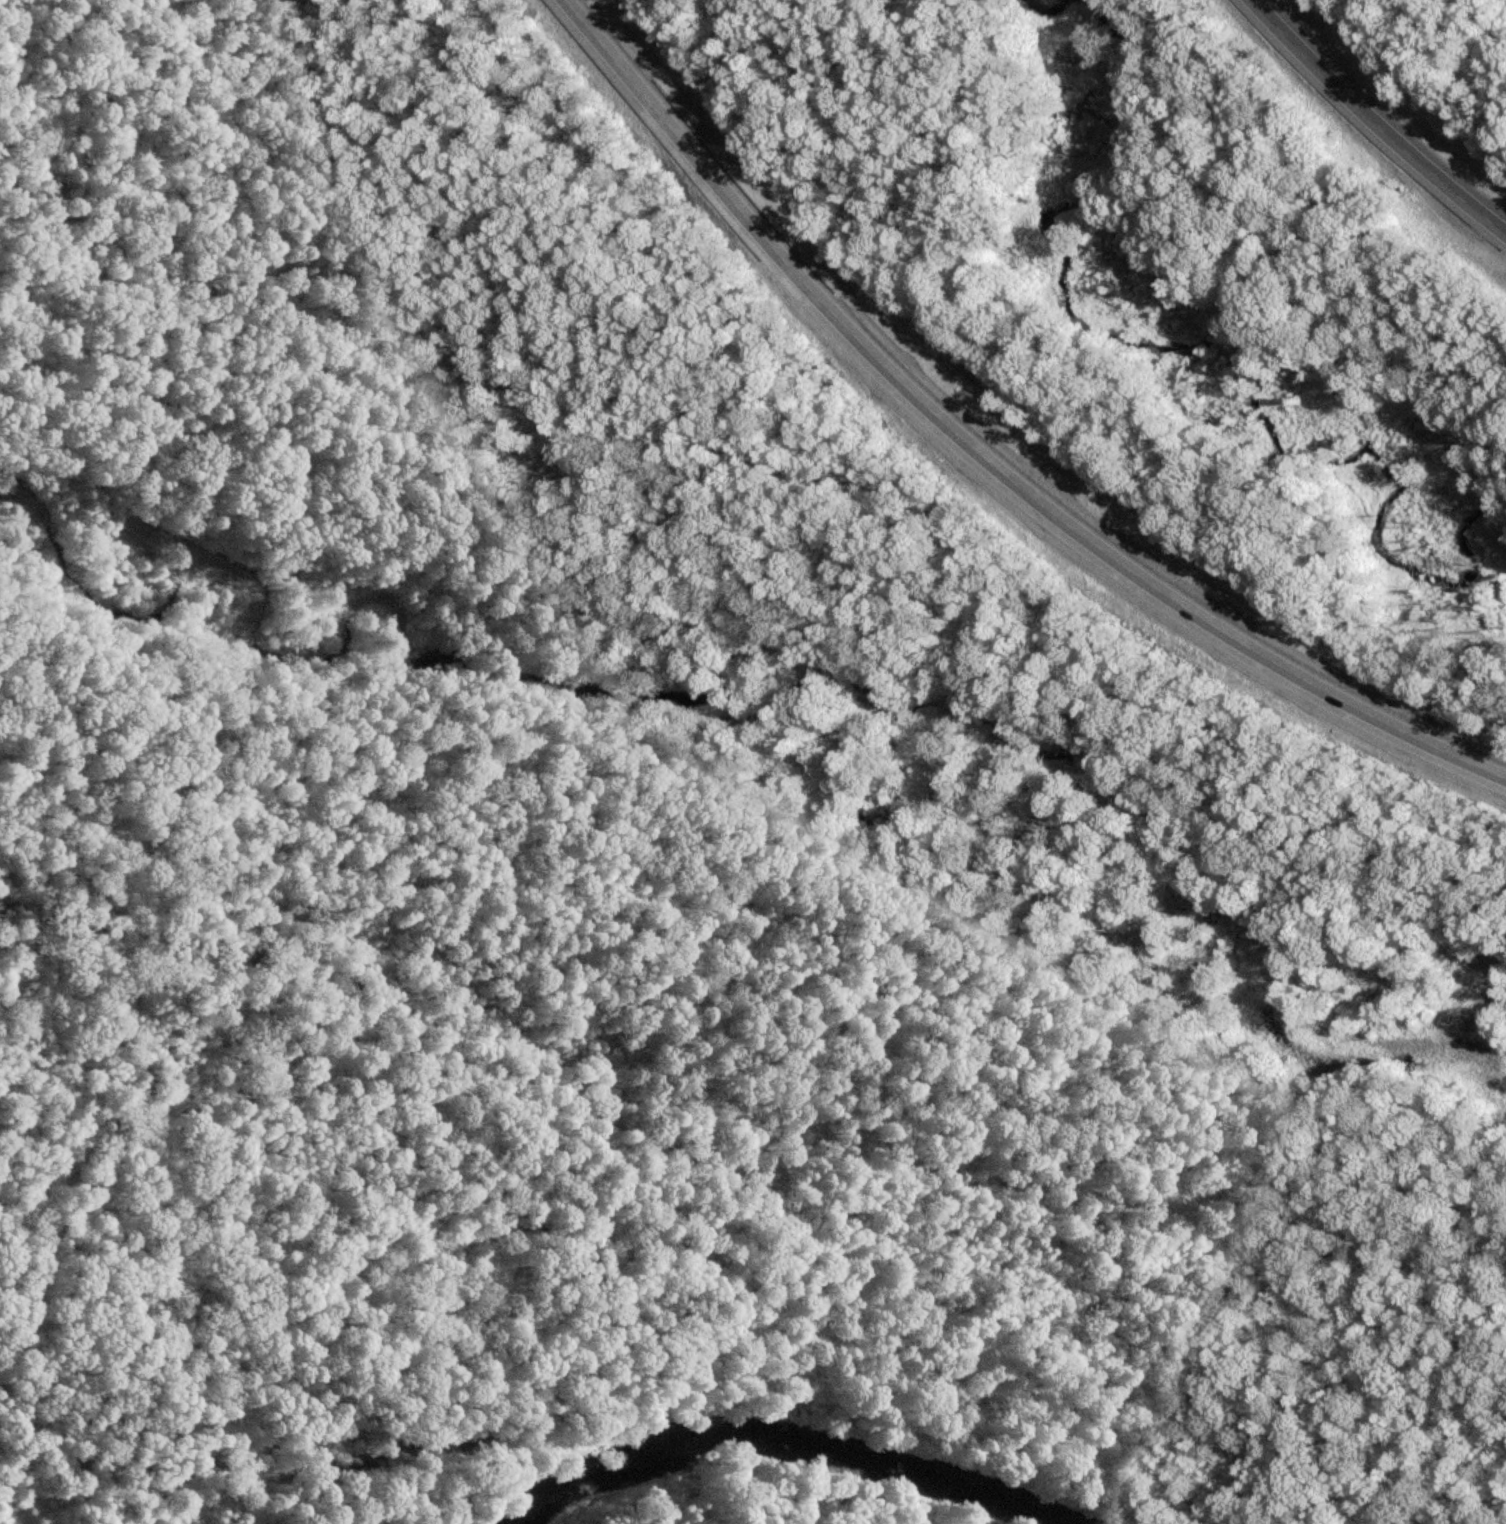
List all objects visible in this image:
road: (1374, 122)
road: (983, 455)
road: (1250, 1219)
river: (812, 1444)
road: (1273, 1488)

